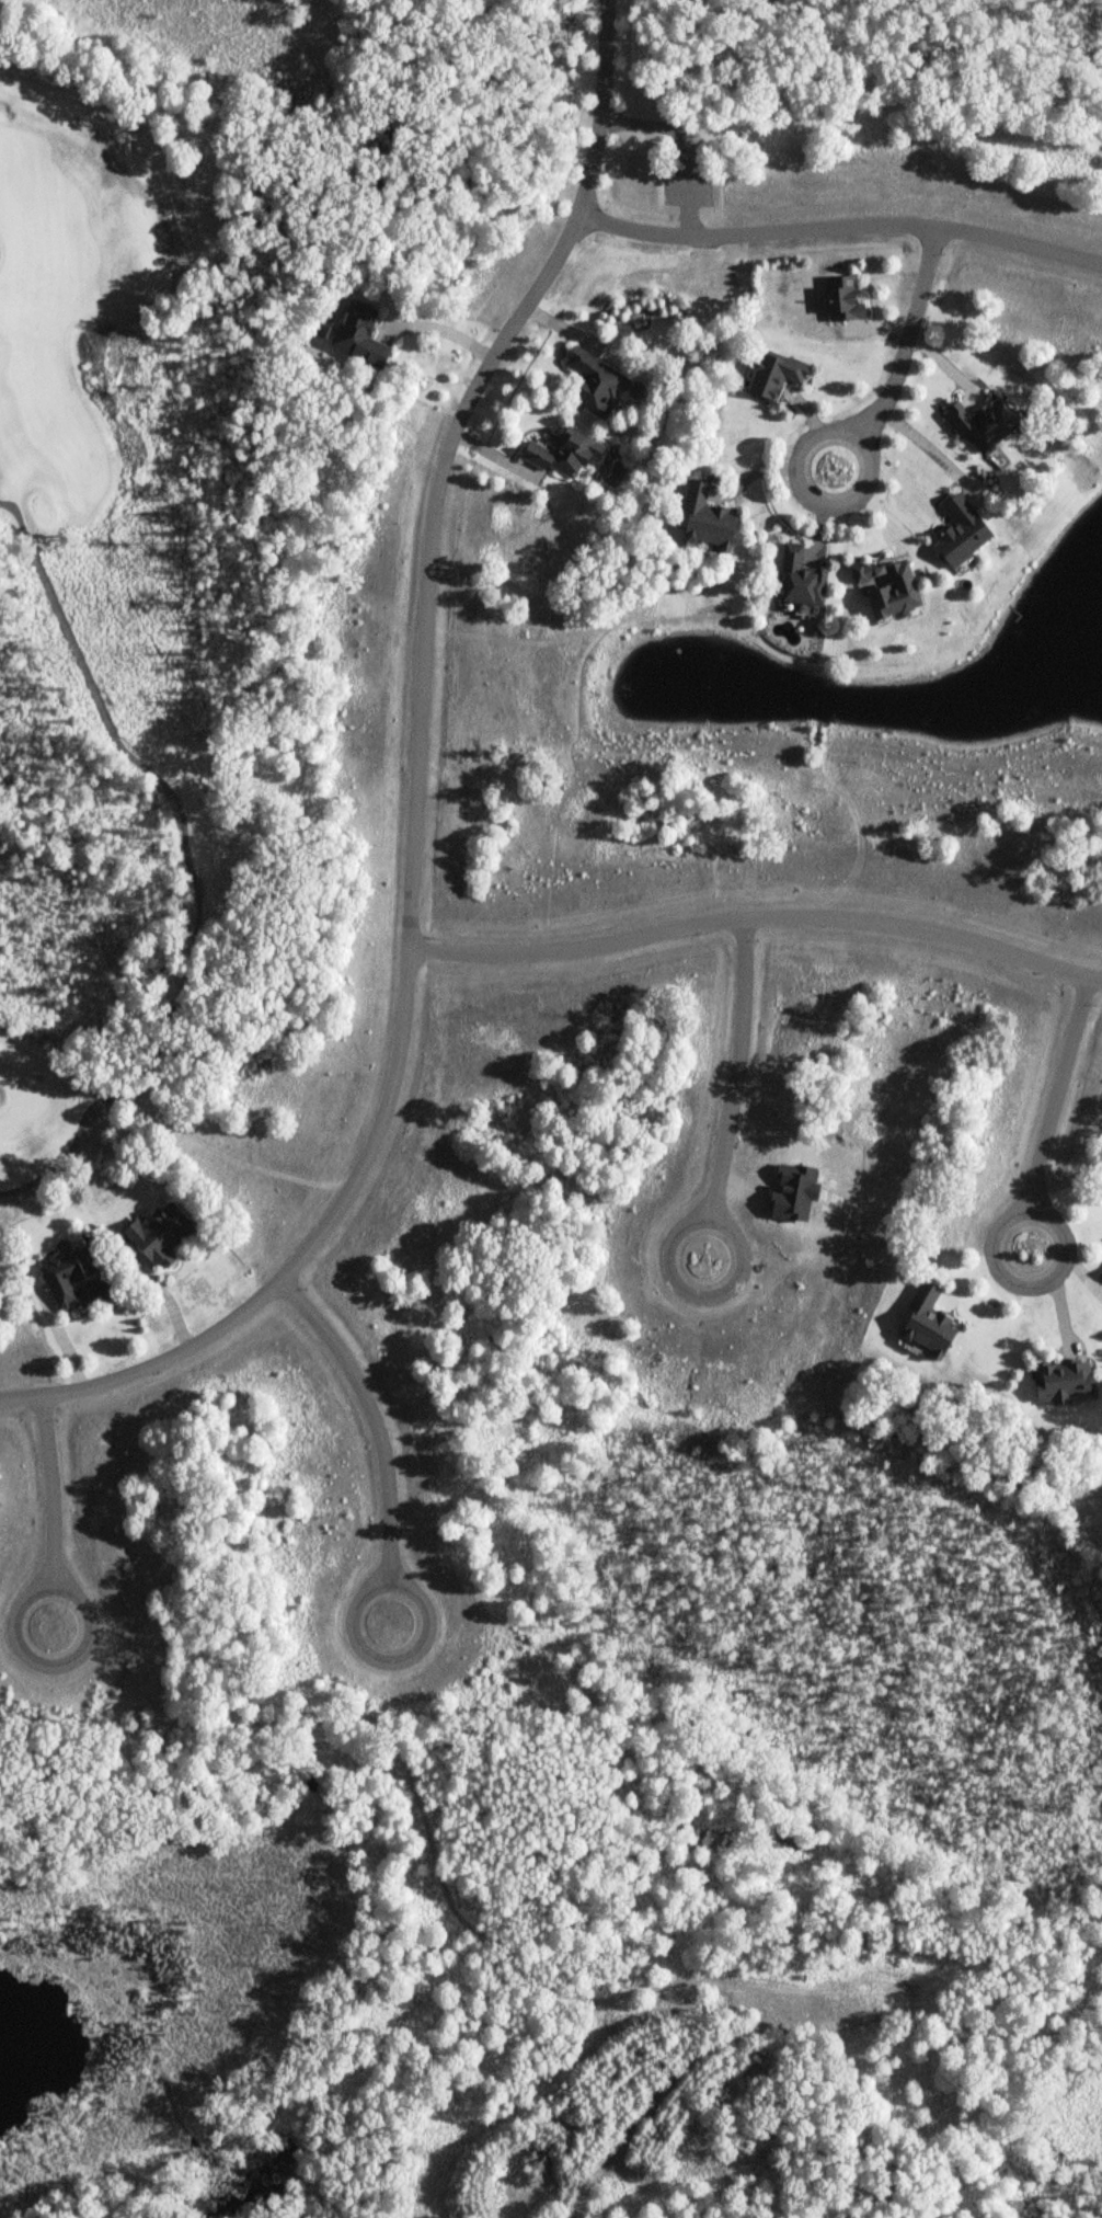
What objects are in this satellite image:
road: (840, 225)
building: (846, 298)
building: (644, 299)
building: (359, 333)
building: (773, 375)
building: (596, 384)
building: (988, 424)
road: (866, 445)
building: (567, 456)
building: (710, 521)
building: (965, 531)
park: (135, 564)
building: (804, 580)
building: (894, 591)
road: (416, 792)
road: (185, 862)
road: (756, 917)
park: (22, 1102)
road: (714, 1190)
road: (1030, 1207)
building: (163, 1233)
building: (74, 1273)
building: (931, 1323)
building: (1066, 1380)
road: (389, 1533)
road: (76, 1591)

